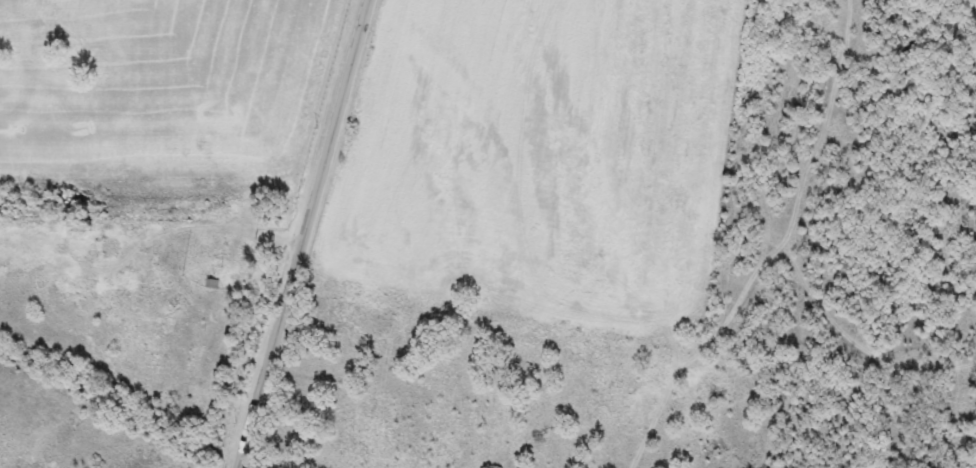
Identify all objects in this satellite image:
road: (311, 234)

